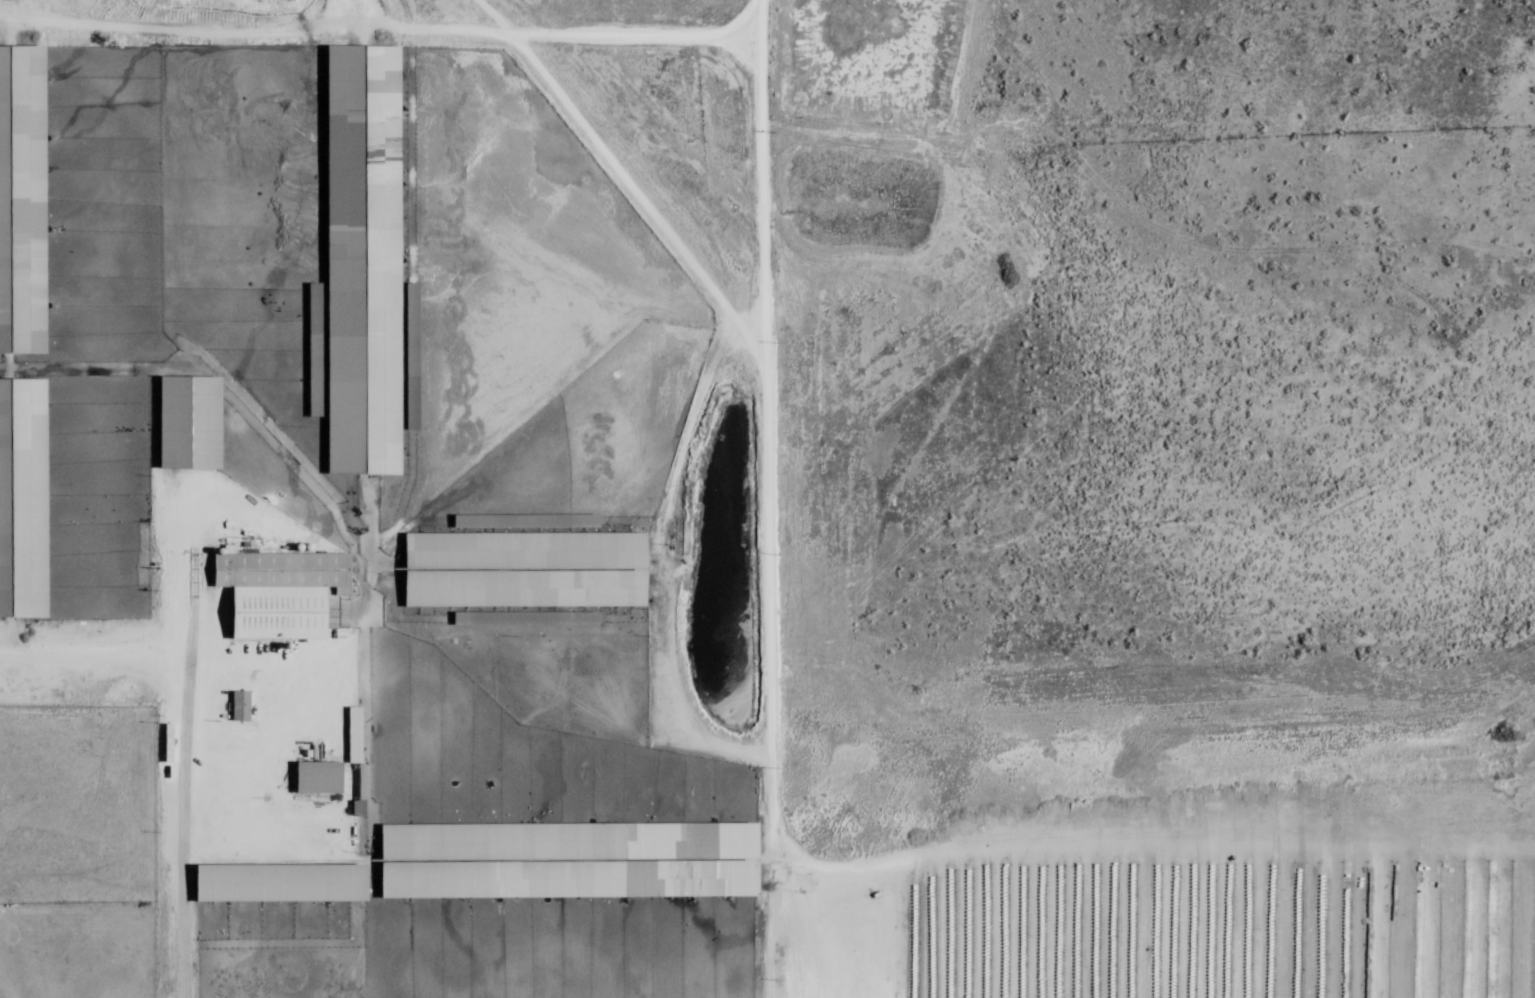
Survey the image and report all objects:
building: (22, 202)
building: (363, 261)
building: (315, 350)
building: (412, 356)
building: (23, 498)
road: (768, 499)
building: (525, 563)
building: (280, 592)
building: (526, 618)
building: (241, 706)
building: (355, 735)
building: (319, 777)
building: (359, 808)
building: (569, 861)

